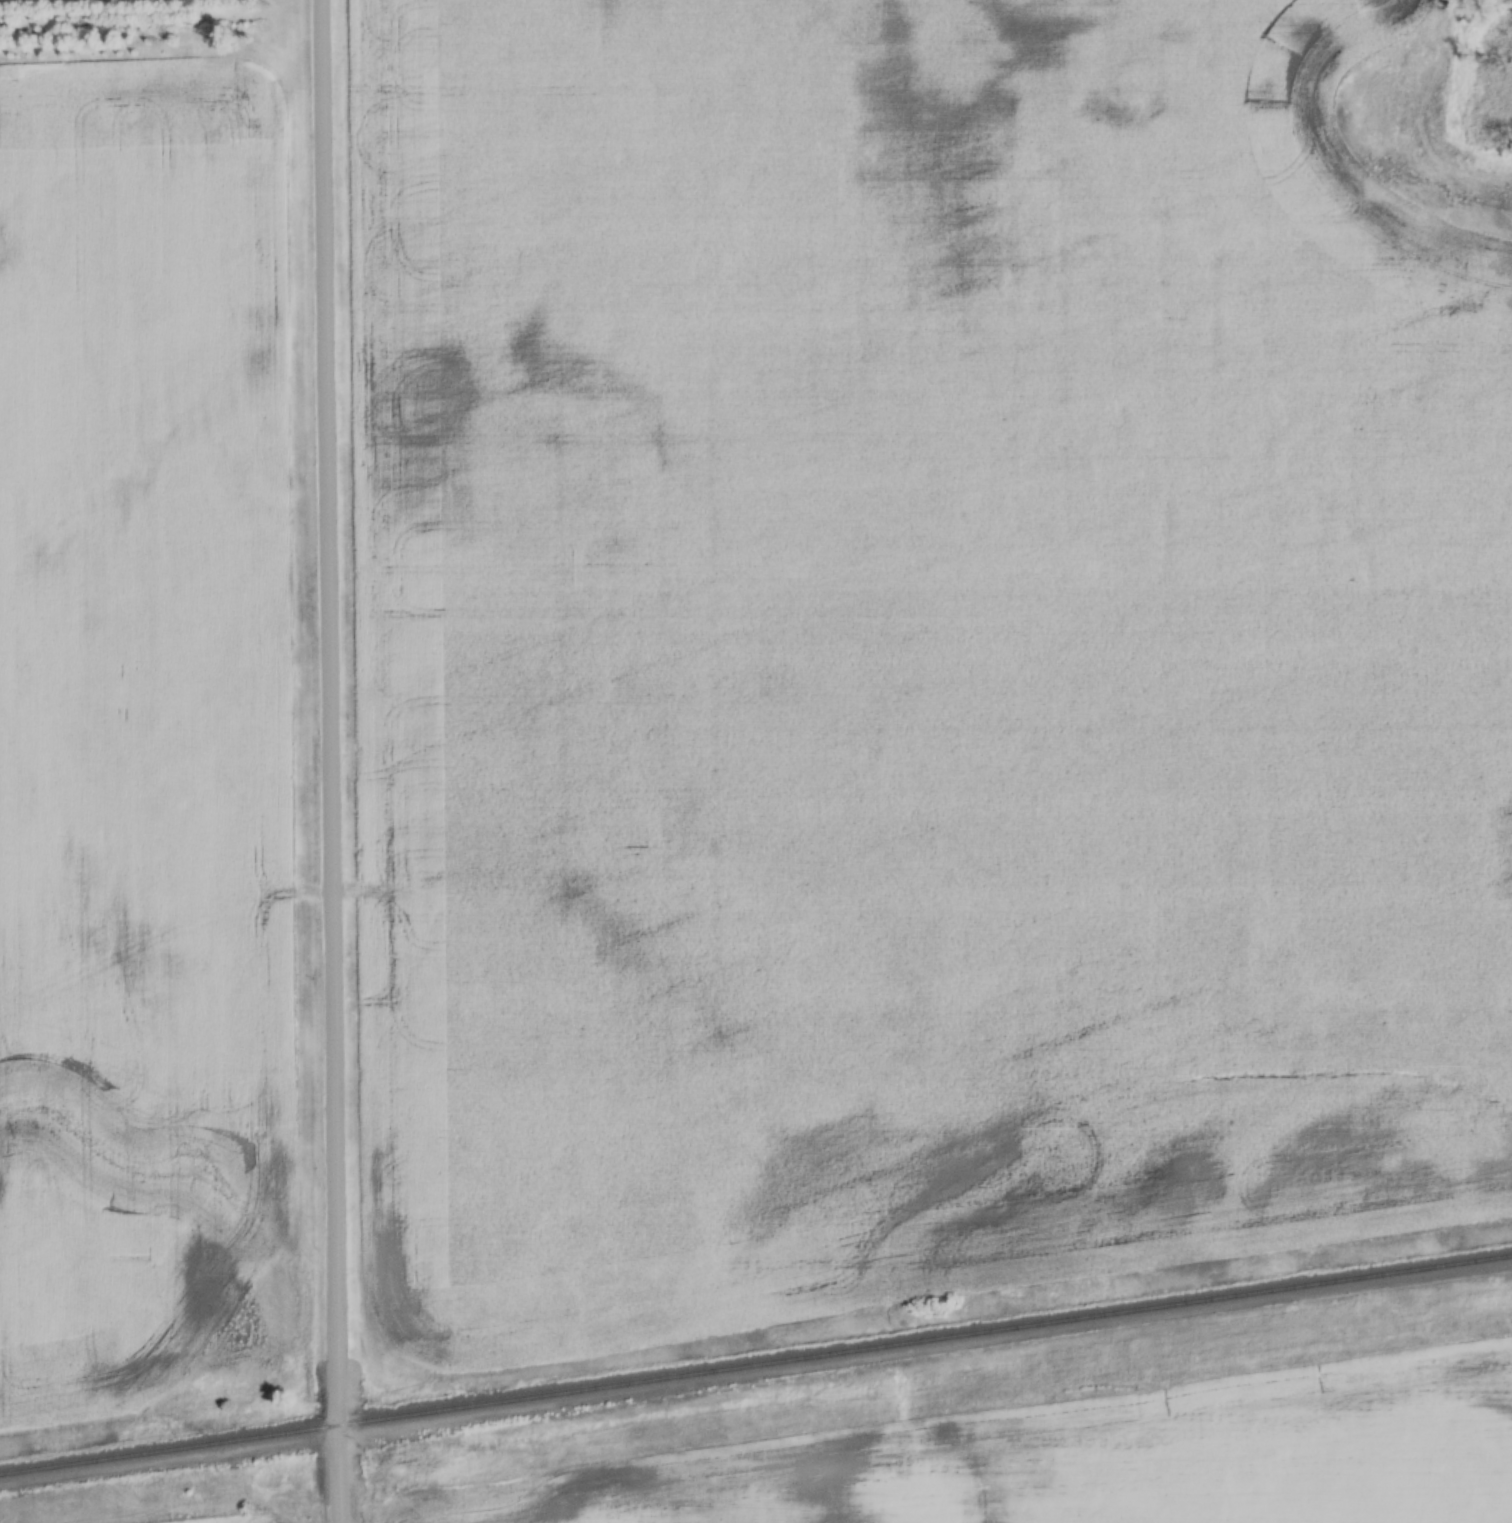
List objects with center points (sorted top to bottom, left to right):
road: (332, 761)
railway: (756, 1365)

